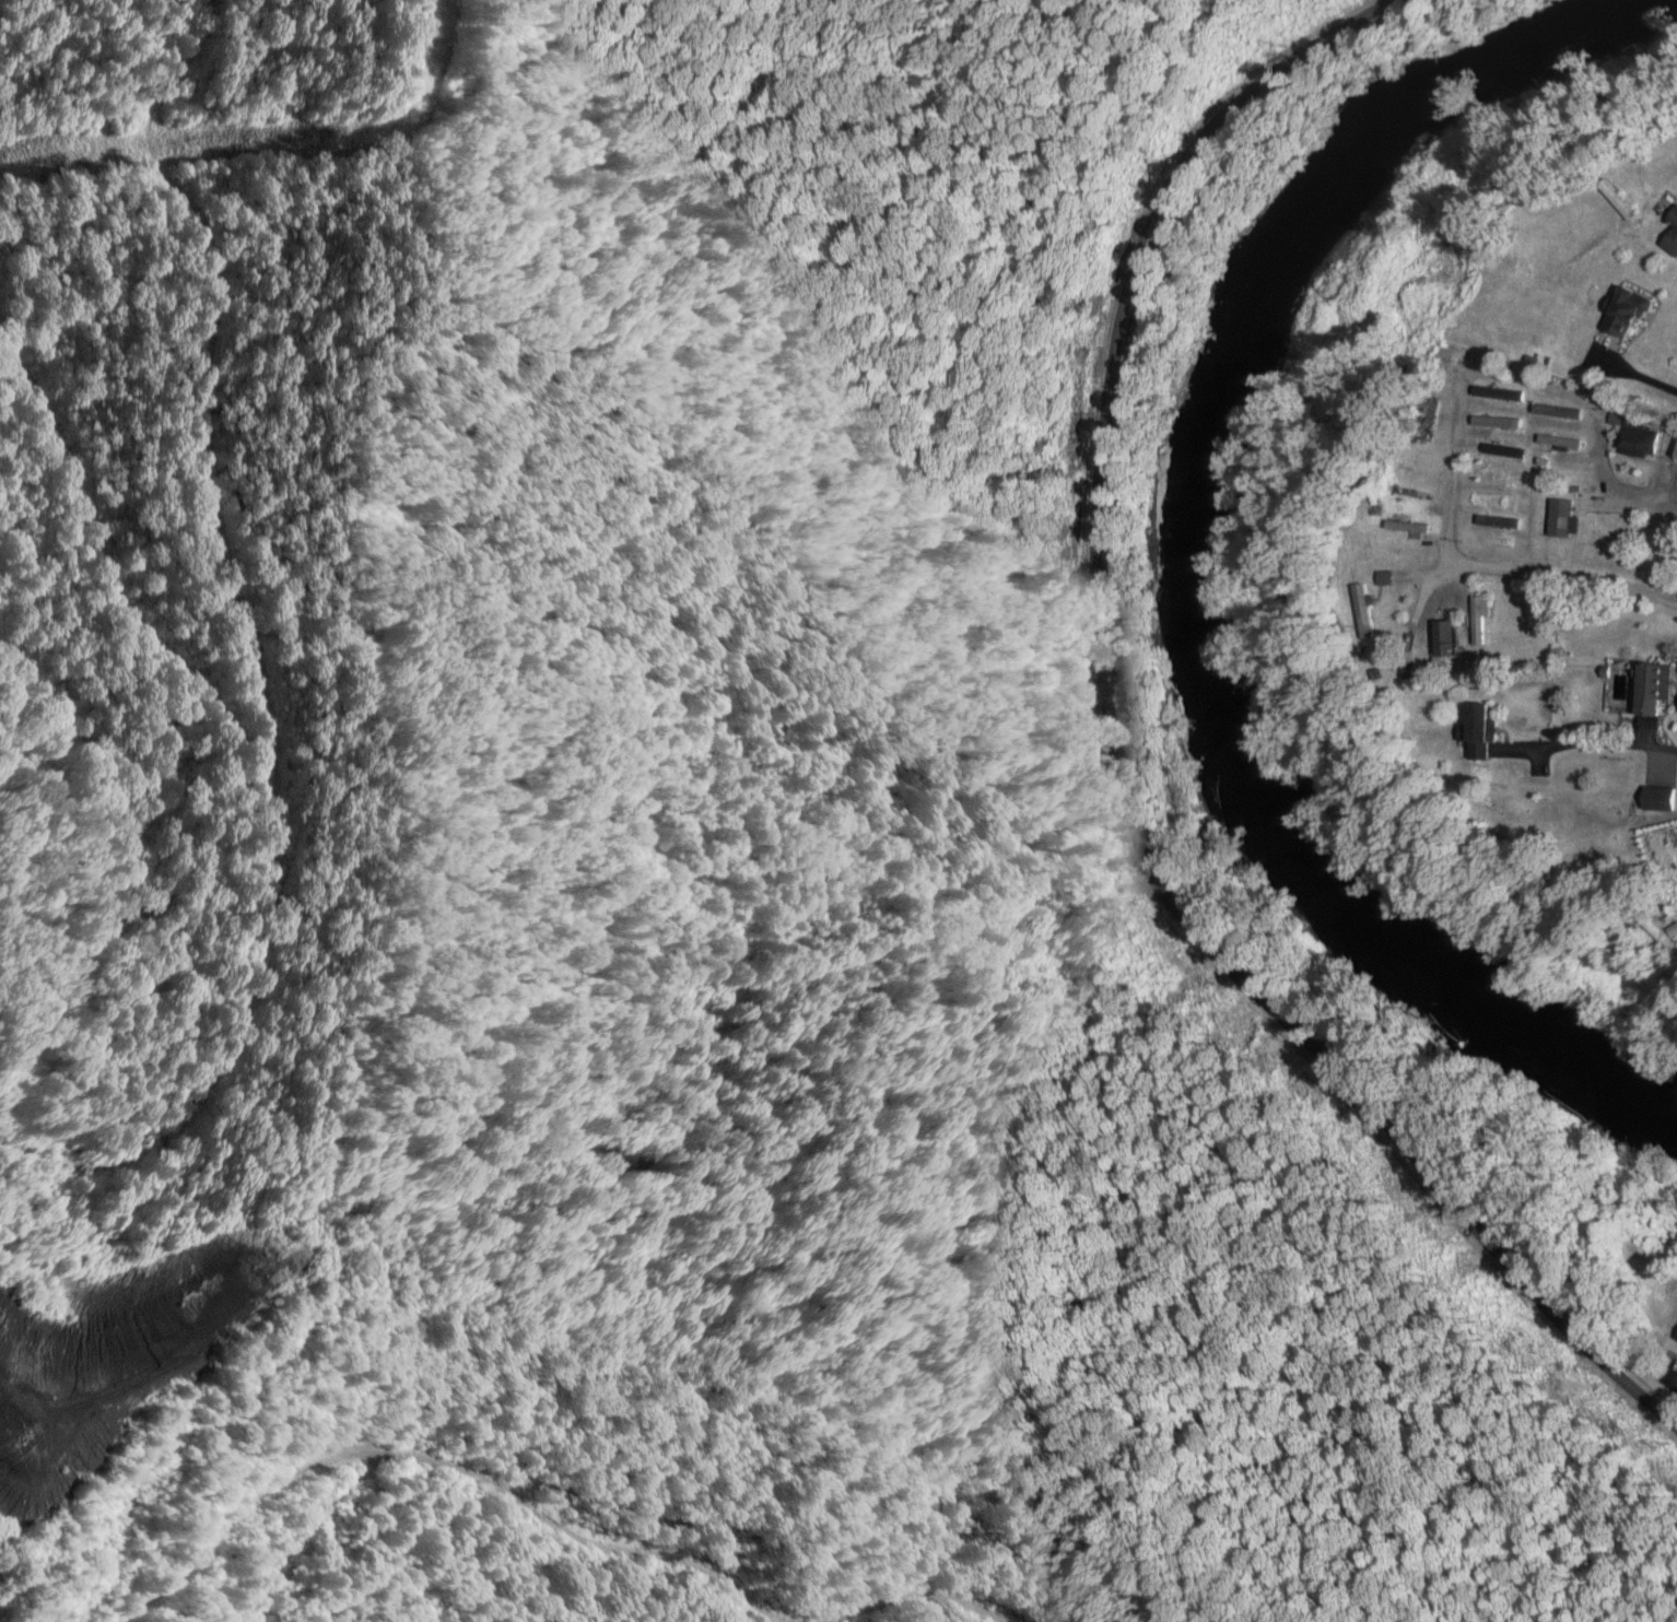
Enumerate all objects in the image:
building: (1670, 236)
building: (1625, 314)
road: (1651, 386)
building: (1497, 395)
building: (1556, 413)
building: (1424, 423)
building: (1494, 424)
building: (1637, 442)
building: (1558, 443)
building: (1502, 452)
building: (1675, 456)
building: (1499, 478)
building: (1560, 480)
building: (1562, 501)
building: (1489, 502)
building: (1497, 524)
building: (1406, 531)
building: (1490, 541)
river: (1184, 561)
building: (1674, 561)
building: (1361, 615)
building: (1477, 621)
building: (1443, 642)
building: (1651, 689)
building: (1476, 730)
road: (1586, 745)
road: (1112, 769)
building: (1667, 848)
building: (1579, 859)
building: (1654, 931)
quarry: (159, 1332)
road: (1667, 1382)
road: (544, 1517)

